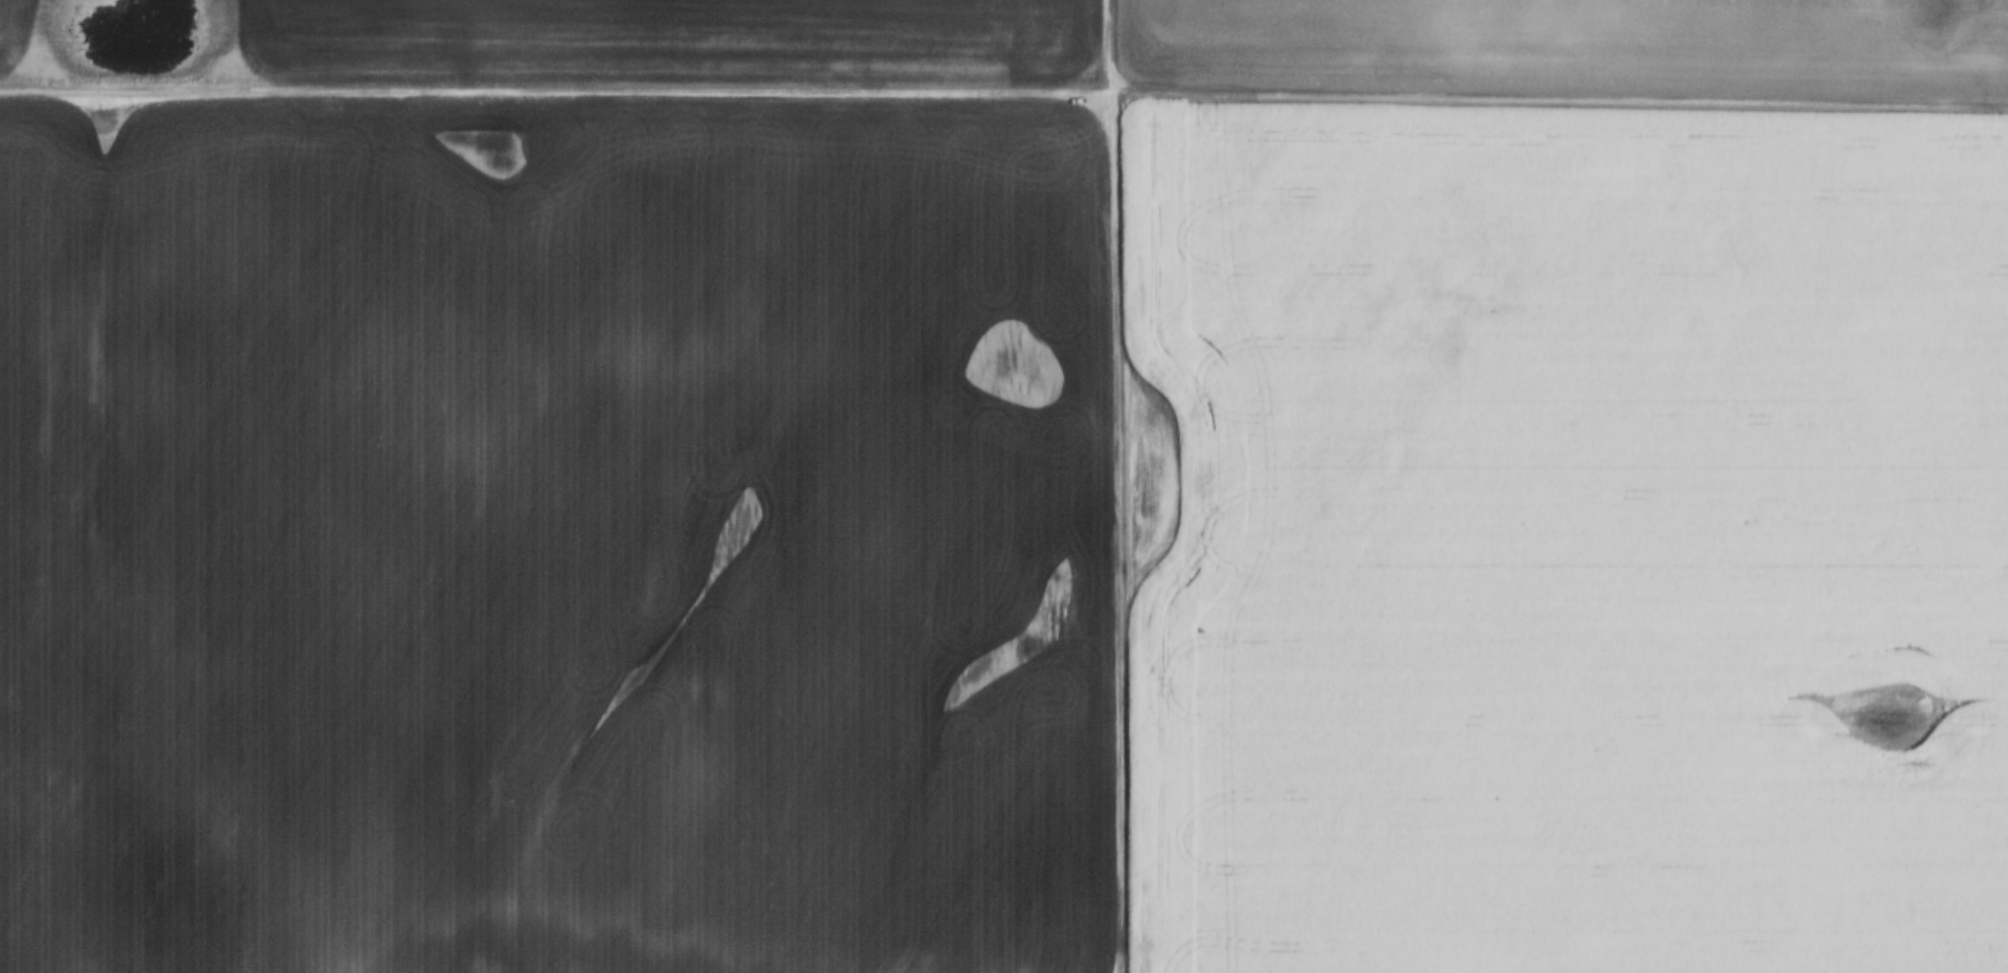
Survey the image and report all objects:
road: (1004, 95)
road: (1130, 486)

